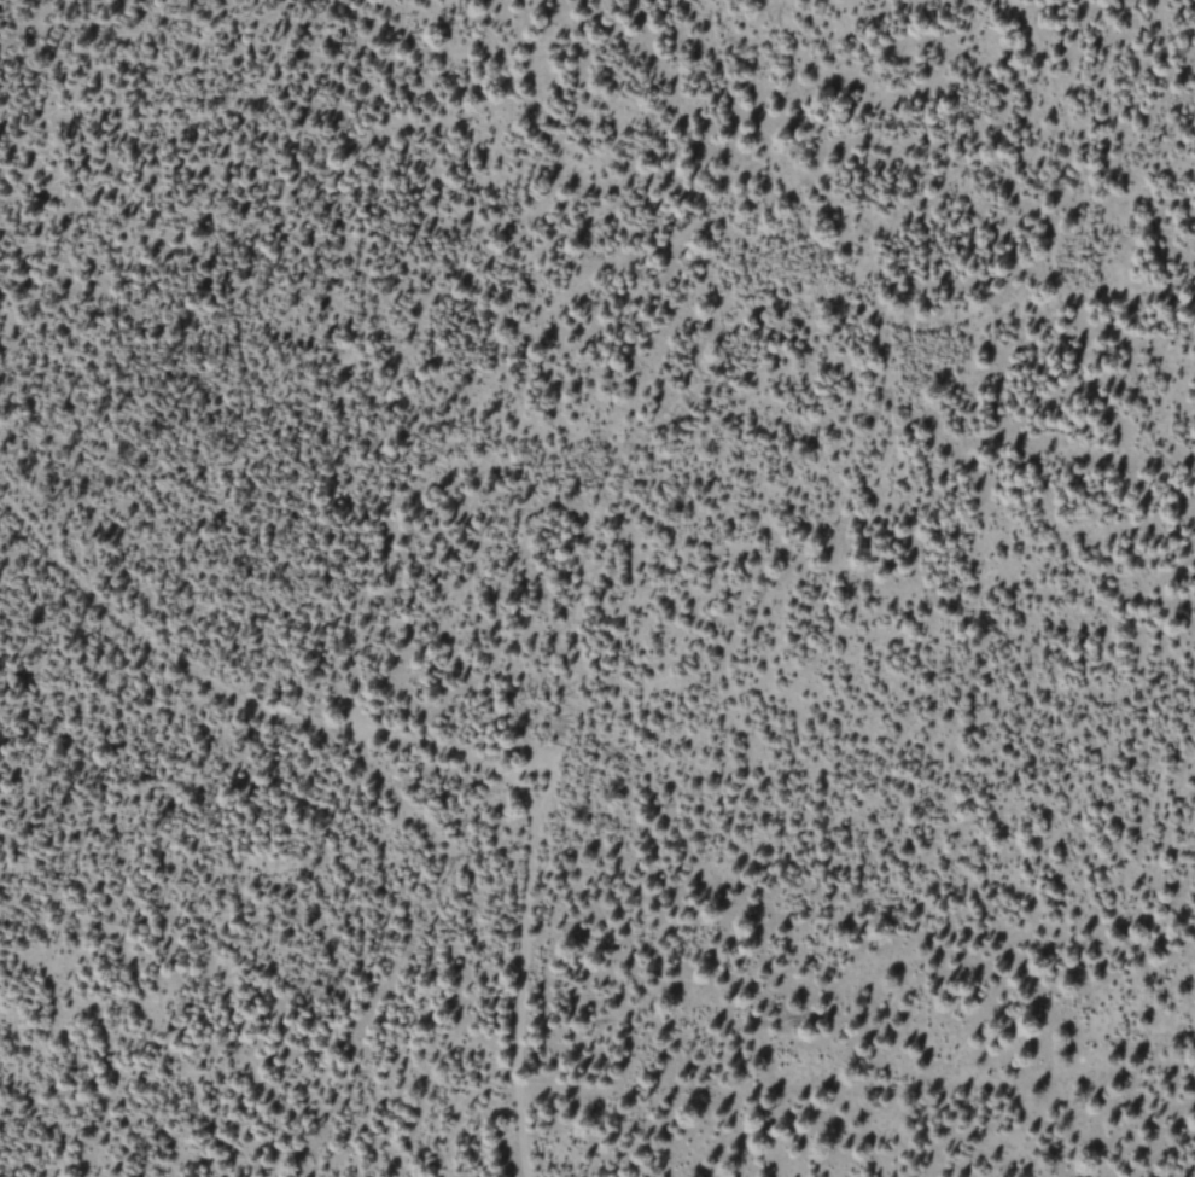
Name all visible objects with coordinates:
road: (421, 728)

